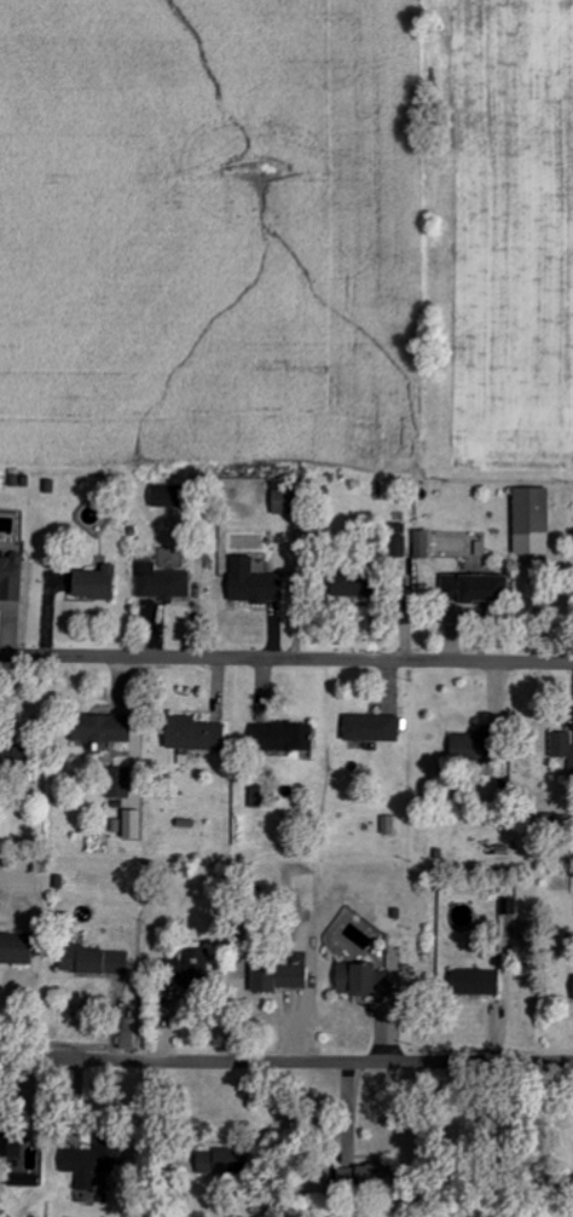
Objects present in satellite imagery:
building: (173, 495)
building: (295, 500)
building: (538, 519)
building: (428, 543)
building: (16, 576)
building: (104, 582)
building: (261, 582)
building: (369, 582)
building: (169, 584)
building: (486, 586)
road: (286, 656)
building: (109, 727)
building: (378, 727)
building: (203, 733)
building: (290, 736)
building: (565, 744)
building: (476, 745)
building: (126, 783)
building: (140, 823)
building: (513, 905)
building: (19, 947)
building: (100, 961)
building: (201, 968)
building: (290, 975)
building: (367, 980)
building: (482, 981)
road: (285, 1061)
building: (17, 1140)
building: (105, 1157)
building: (231, 1160)

